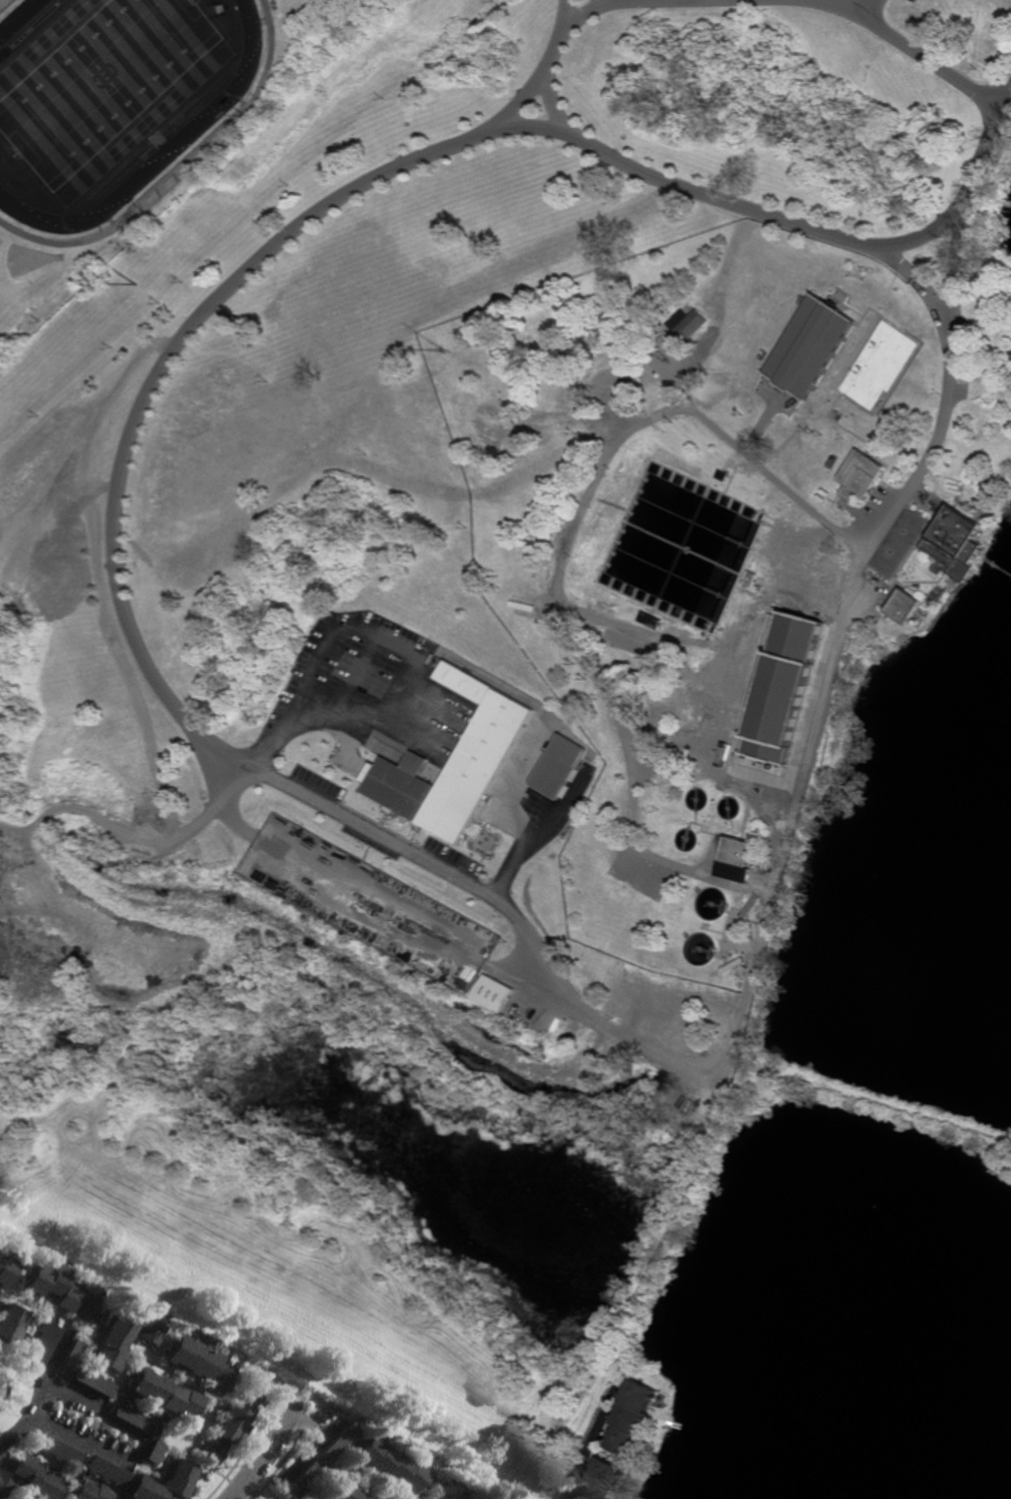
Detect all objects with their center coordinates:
road: (733, 1)
road: (821, 1)
building: (6, 5)
road: (859, 5)
track: (21, 18)
road: (580, 20)
road: (545, 73)
park: (104, 83)
building: (410, 87)
road: (554, 103)
road: (992, 140)
track: (181, 146)
power tower: (138, 283)
road: (922, 287)
building: (700, 298)
building: (690, 323)
building: (533, 340)
building: (810, 347)
building: (450, 352)
building: (919, 404)
building: (759, 415)
building: (745, 437)
building: (832, 463)
building: (861, 475)
building: (723, 476)
building: (824, 496)
building: (583, 531)
building: (955, 542)
building: (900, 543)
pier: (996, 564)
road: (564, 565)
building: (754, 579)
building: (906, 607)
building: (653, 621)
road: (462, 665)
building: (798, 680)
building: (461, 683)
road: (373, 712)
building: (750, 749)
building: (749, 757)
building: (764, 766)
building: (476, 767)
building: (559, 768)
road: (298, 788)
building: (402, 788)
building: (697, 799)
building: (731, 808)
building: (738, 852)
building: (713, 904)
road: (354, 915)
building: (702, 949)
building: (494, 994)
building: (6, 1269)
building: (62, 1292)
building: (11, 1323)
building: (122, 1339)
building: (41, 1344)
building: (71, 1356)
building: (196, 1363)
building: (93, 1382)
park: (3, 1389)
road: (40, 1391)
building: (160, 1396)
building: (233, 1419)
building: (134, 1420)
building: (637, 1420)
road: (598, 1441)
building: (55, 1451)
road: (136, 1451)
building: (152, 1453)
road: (268, 1454)
building: (323, 1461)
building: (389, 1467)
building: (115, 1477)
building: (29, 1478)
building: (606, 1482)
building: (444, 1491)
building: (89, 1492)
building: (344, 1492)
road: (249, 1493)
building: (365, 1498)

